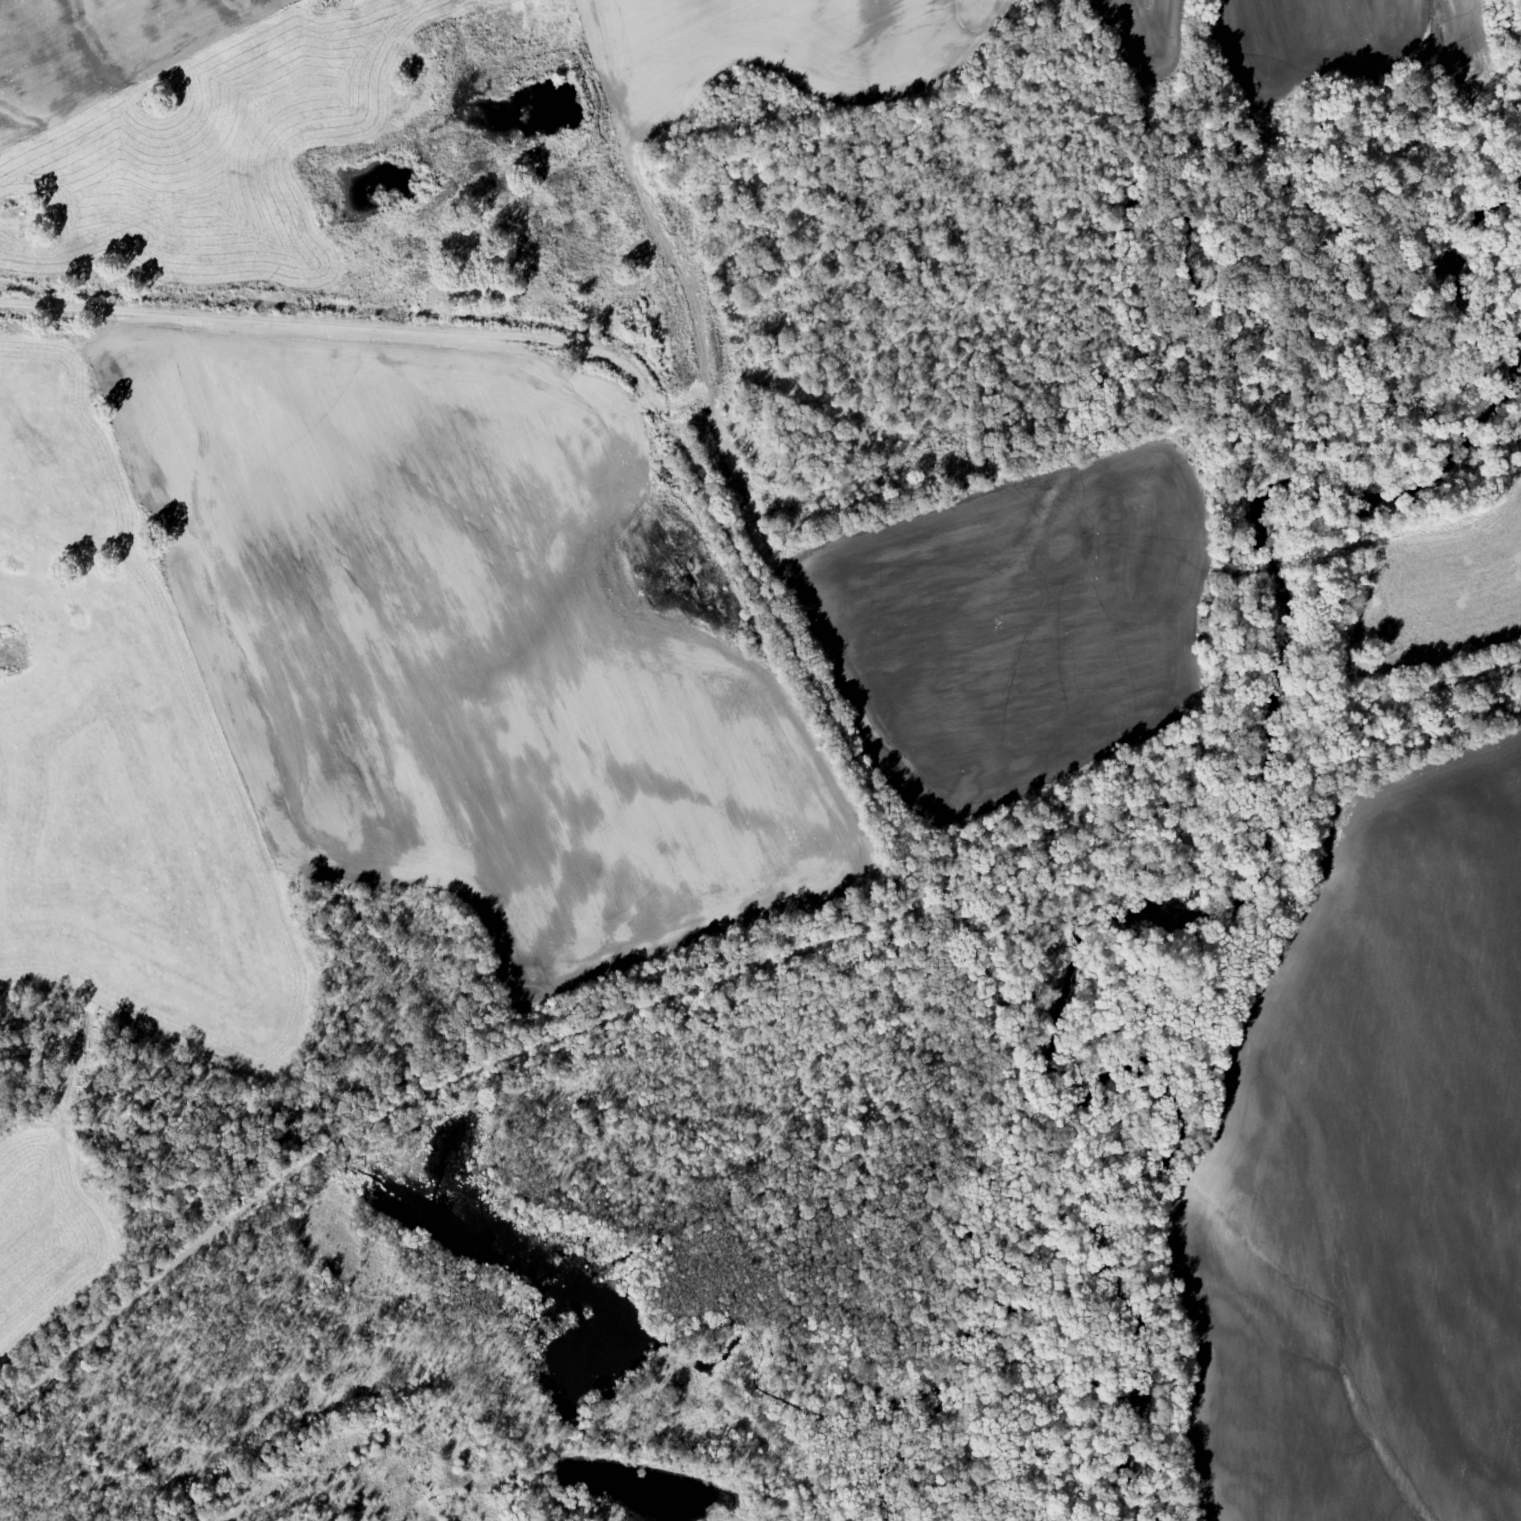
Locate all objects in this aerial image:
building: (614, 278)
railway: (719, 971)

